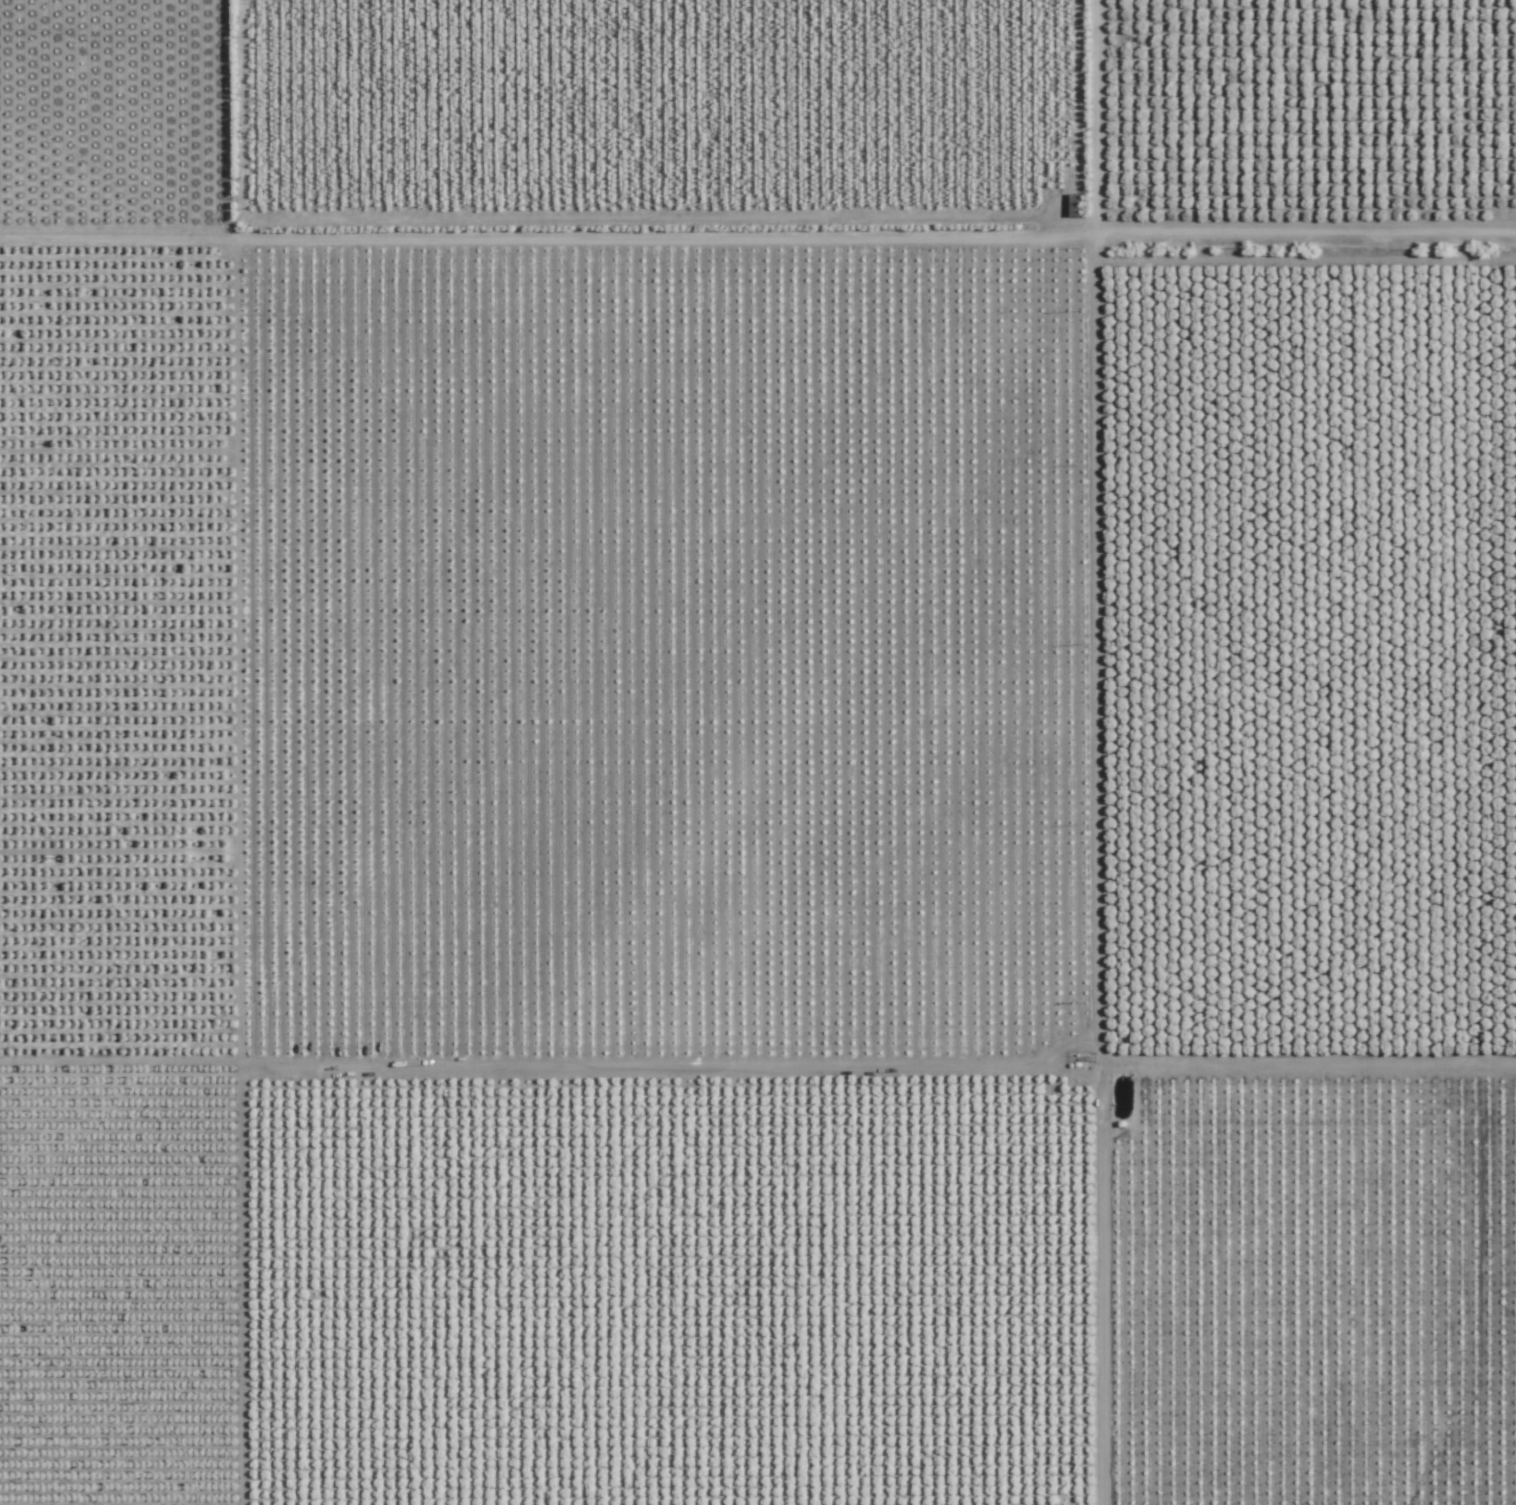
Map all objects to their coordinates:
road: (1307, 230)
wastewater plant: (1025, 310)
crop: (758, 752)
road: (1102, 752)

